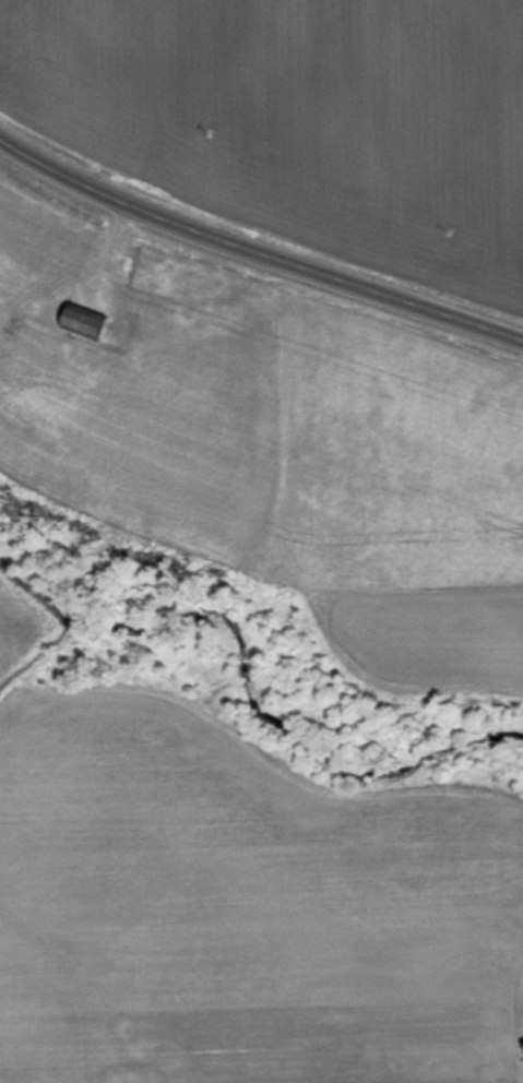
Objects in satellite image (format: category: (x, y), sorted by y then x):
road: (255, 253)
building: (80, 322)

